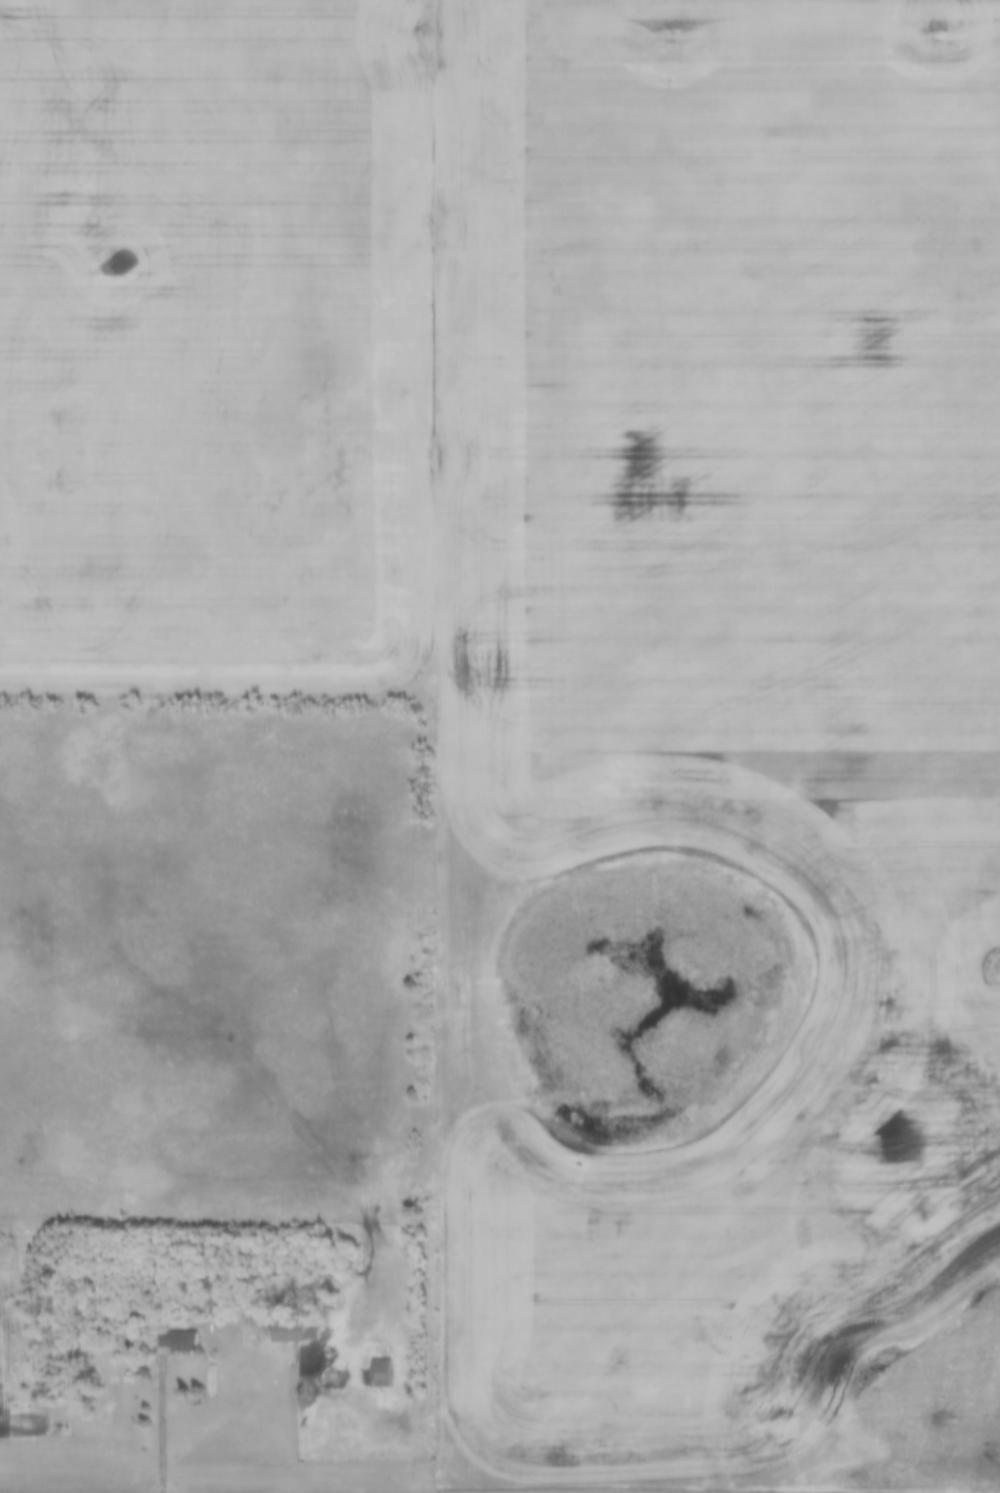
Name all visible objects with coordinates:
storage tank: (196, 1315)
building: (278, 1322)
building: (163, 1329)
building: (296, 1332)
building: (180, 1341)
building: (365, 1361)
building: (382, 1373)
road: (161, 1430)

